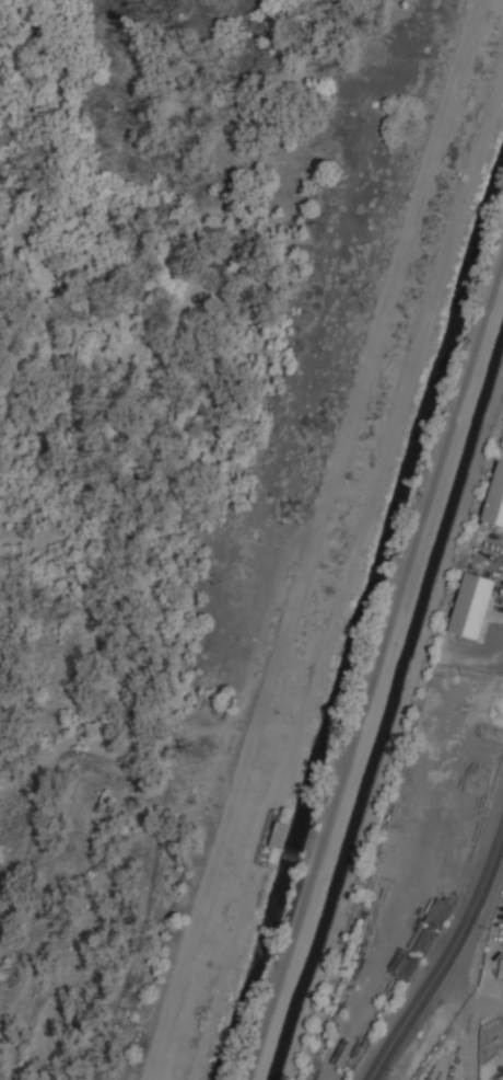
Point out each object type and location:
road: (24, 101)
building: (495, 497)
road: (314, 540)
road: (11, 561)
building: (471, 605)
road: (376, 667)
road: (215, 726)
building: (279, 834)
road: (445, 963)

